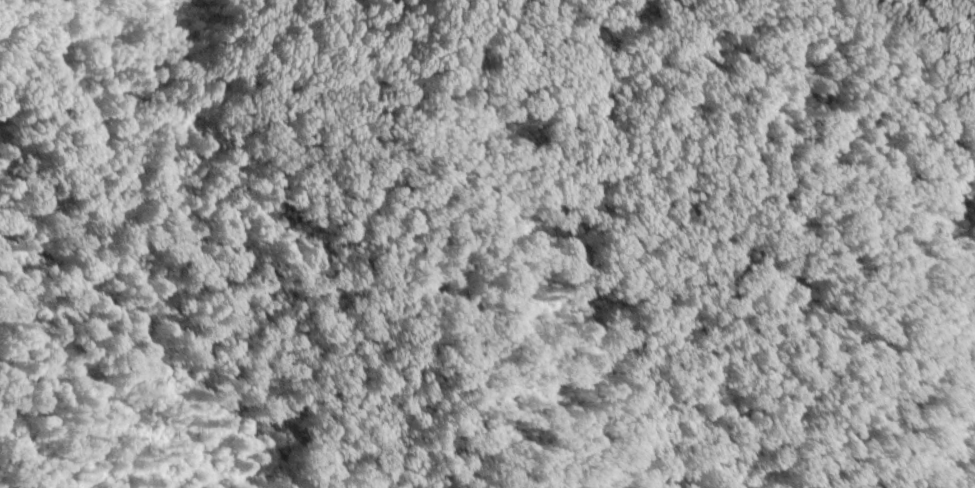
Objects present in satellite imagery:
road: (16, 98)
road: (160, 235)
road: (100, 326)
road: (927, 475)

